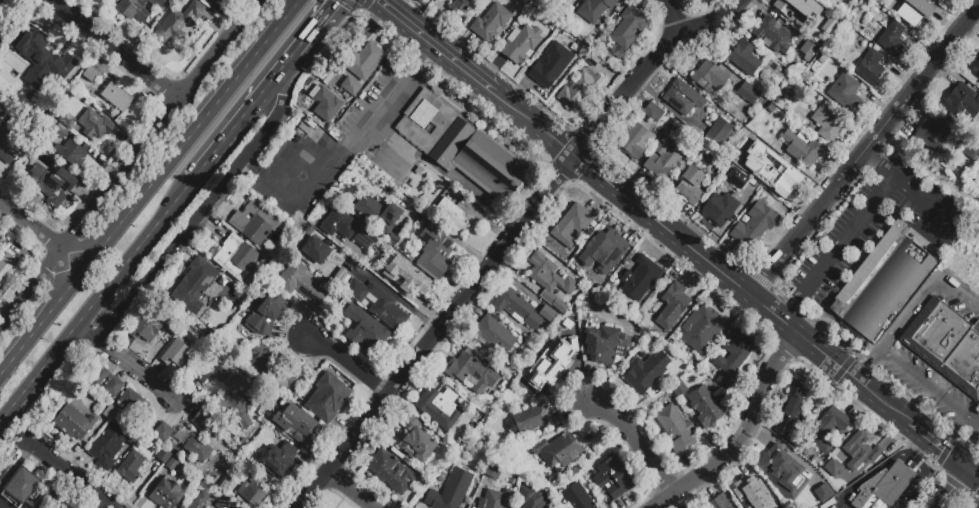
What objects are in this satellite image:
building: (110, 0)
building: (212, 1)
traffic signals: (378, 1)
building: (940, 1)
building: (1, 2)
building: (560, 2)
traffic signals: (336, 3)
road: (251, 6)
road: (397, 6)
road: (387, 7)
building: (461, 7)
building: (796, 8)
building: (139, 9)
building: (594, 9)
building: (914, 13)
road: (670, 14)
road: (286, 17)
road: (433, 17)
building: (490, 22)
building: (177, 23)
road: (319, 23)
road: (369, 27)
building: (626, 31)
building: (772, 35)
building: (892, 39)
building: (520, 44)
road: (463, 46)
road: (113, 49)
road: (297, 50)
building: (807, 51)
road: (444, 53)
road: (423, 54)
building: (978, 57)
building: (744, 58)
building: (42, 59)
building: (365, 62)
building: (870, 66)
building: (550, 67)
road: (491, 69)
building: (977, 69)
building: (89, 74)
road: (278, 75)
building: (709, 76)
road: (284, 81)
building: (350, 86)
building: (581, 86)
building: (842, 91)
road: (525, 95)
building: (749, 96)
building: (115, 97)
building: (682, 98)
building: (959, 100)
road: (216, 105)
building: (326, 106)
building: (0, 111)
building: (653, 112)
building: (66, 120)
road: (533, 122)
building: (93, 124)
building: (826, 124)
road: (152, 129)
building: (59, 132)
building: (932, 134)
building: (719, 135)
building: (9, 139)
road: (225, 141)
building: (637, 142)
road: (410, 144)
building: (460, 146)
building: (802, 150)
road: (865, 152)
building: (972, 152)
building: (70, 153)
road: (341, 158)
building: (662, 159)
road: (875, 162)
road: (250, 163)
road: (931, 168)
road: (891, 174)
building: (782, 180)
building: (52, 184)
building: (690, 185)
road: (663, 190)
road: (601, 197)
road: (481, 200)
building: (719, 208)
road: (868, 212)
building: (378, 213)
building: (451, 213)
road: (130, 214)
road: (25, 220)
road: (681, 221)
building: (254, 222)
road: (187, 223)
building: (338, 224)
building: (572, 225)
road: (728, 225)
building: (752, 227)
road: (443, 230)
building: (957, 234)
road: (508, 237)
road: (56, 244)
road: (83, 246)
building: (1, 247)
building: (314, 250)
building: (434, 251)
building: (603, 251)
road: (720, 251)
building: (373, 253)
road: (652, 254)
building: (234, 257)
crop: (964, 260)
building: (6, 265)
road: (63, 270)
road: (694, 271)
building: (406, 277)
building: (640, 280)
building: (550, 282)
building: (300, 283)
building: (886, 284)
building: (194, 286)
road: (30, 287)
road: (739, 287)
road: (393, 295)
road: (924, 297)
road: (94, 303)
building: (378, 303)
building: (672, 306)
road: (791, 307)
building: (516, 308)
road: (719, 309)
road: (49, 314)
building: (546, 314)
building: (267, 315)
building: (699, 327)
building: (145, 329)
building: (340, 329)
building: (365, 330)
building: (934, 332)
building: (492, 334)
road: (82, 336)
road: (100, 346)
building: (603, 347)
building: (176, 354)
traffic signals: (827, 355)
building: (732, 358)
building: (550, 363)
building: (964, 363)
road: (349, 366)
road: (868, 366)
road: (134, 367)
building: (273, 368)
building: (213, 370)
building: (472, 372)
building: (646, 372)
building: (108, 382)
traffic signals: (866, 384)
road: (930, 387)
road: (66, 391)
building: (679, 391)
building: (327, 397)
road: (859, 401)
building: (133, 402)
building: (439, 406)
building: (704, 407)
building: (236, 408)
building: (109, 412)
building: (791, 412)
building: (532, 419)
building: (73, 422)
building: (207, 422)
building: (295, 424)
building: (828, 428)
building: (675, 429)
building: (163, 432)
road: (742, 434)
road: (25, 439)
road: (635, 441)
building: (415, 442)
road: (937, 443)
building: (108, 445)
road: (883, 446)
building: (197, 448)
road: (969, 449)
building: (558, 450)
road: (924, 451)
building: (864, 452)
road: (7, 456)
building: (163, 456)
building: (172, 463)
building: (277, 463)
building: (782, 463)
road: (974, 465)
building: (129, 467)
traffic signals: (969, 468)
building: (492, 470)
road: (974, 471)
building: (391, 472)
road: (71, 473)
road: (871, 476)
building: (611, 477)
road: (926, 484)
building: (21, 486)
building: (883, 487)
road: (952, 488)
building: (450, 490)
building: (253, 491)
road: (348, 491)
building: (168, 493)
building: (748, 493)
building: (576, 497)
building: (532, 499)
building: (200, 500)
building: (493, 500)
building: (222, 502)
building: (49, 503)
building: (721, 503)
building: (42, 505)
building: (180, 507)

